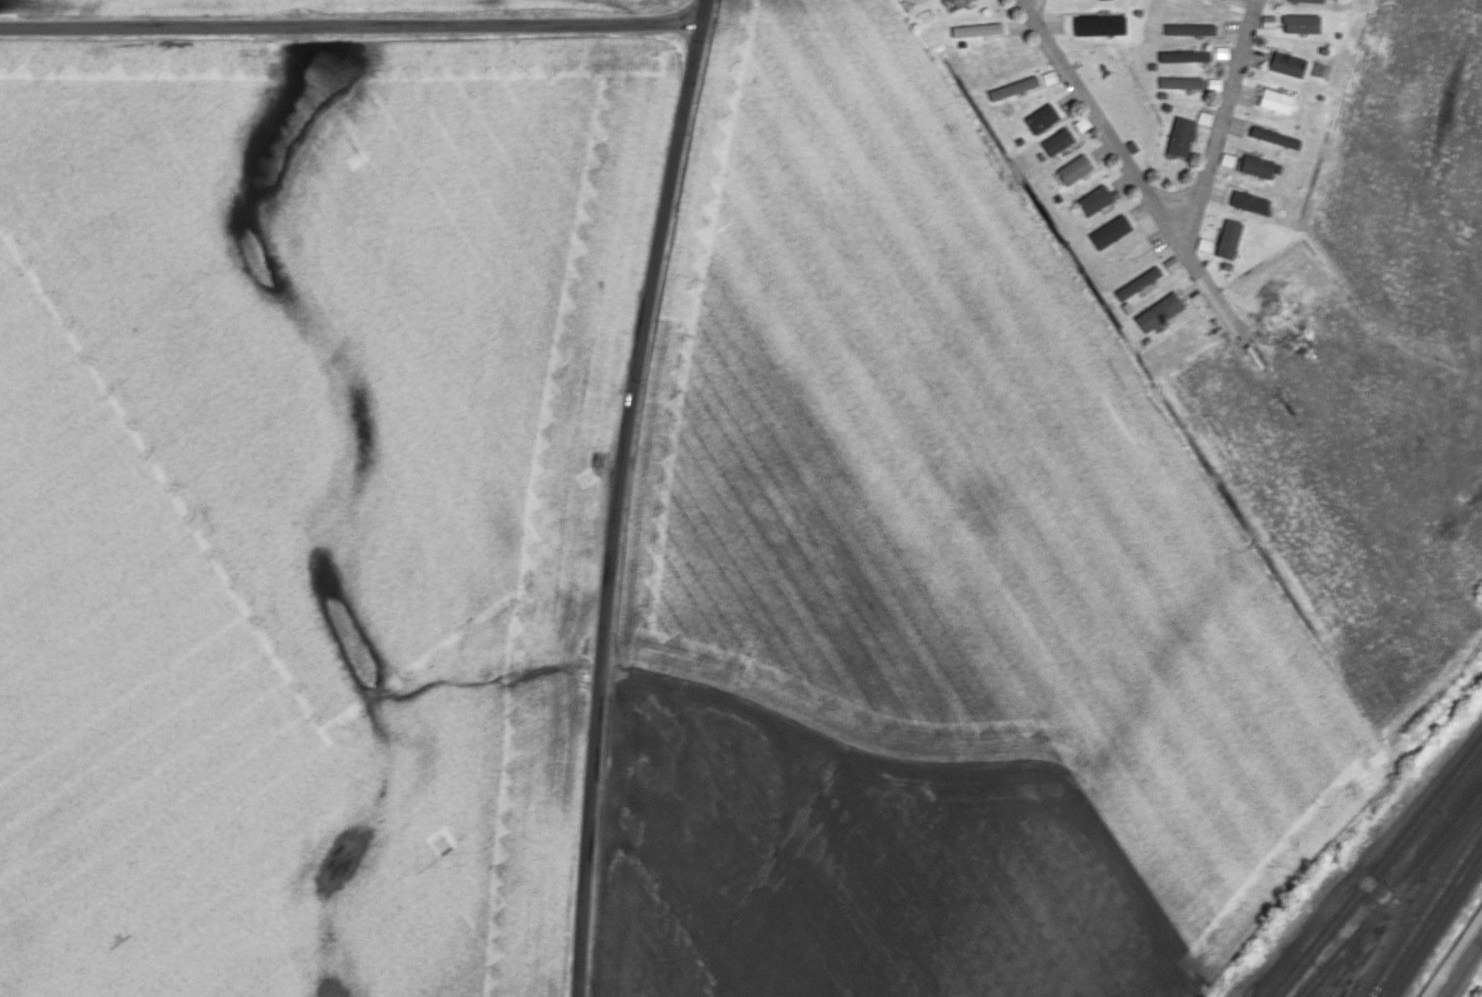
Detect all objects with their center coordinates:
building: (1307, 0)
building: (963, 3)
crop: (320, 5)
road: (1036, 10)
road: (705, 11)
building: (1267, 21)
building: (1300, 23)
road: (351, 24)
building: (1099, 25)
building: (976, 29)
building: (1189, 29)
building: (1221, 52)
building: (1183, 56)
building: (1286, 64)
building: (1049, 77)
building: (1180, 82)
building: (1213, 84)
building: (1013, 88)
park: (1117, 99)
building: (1275, 100)
road: (1226, 106)
road: (1095, 116)
building: (1203, 117)
building: (1041, 118)
building: (1082, 124)
building: (1181, 136)
building: (1273, 137)
building: (1056, 141)
building: (1227, 160)
building: (1256, 166)
building: (1074, 169)
building: (1094, 200)
building: (1248, 202)
building: (1109, 231)
building: (1228, 239)
building: (1204, 244)
building: (1171, 263)
road: (1197, 270)
building: (1138, 283)
building: (1158, 311)
crop: (306, 501)
road: (621, 507)
crop: (1016, 537)
railway: (1378, 869)
railway: (1396, 891)
railway: (1415, 905)
railway: (1426, 912)
railway: (1432, 921)
railway: (1437, 928)
railway: (1332, 963)
road: (1463, 968)

